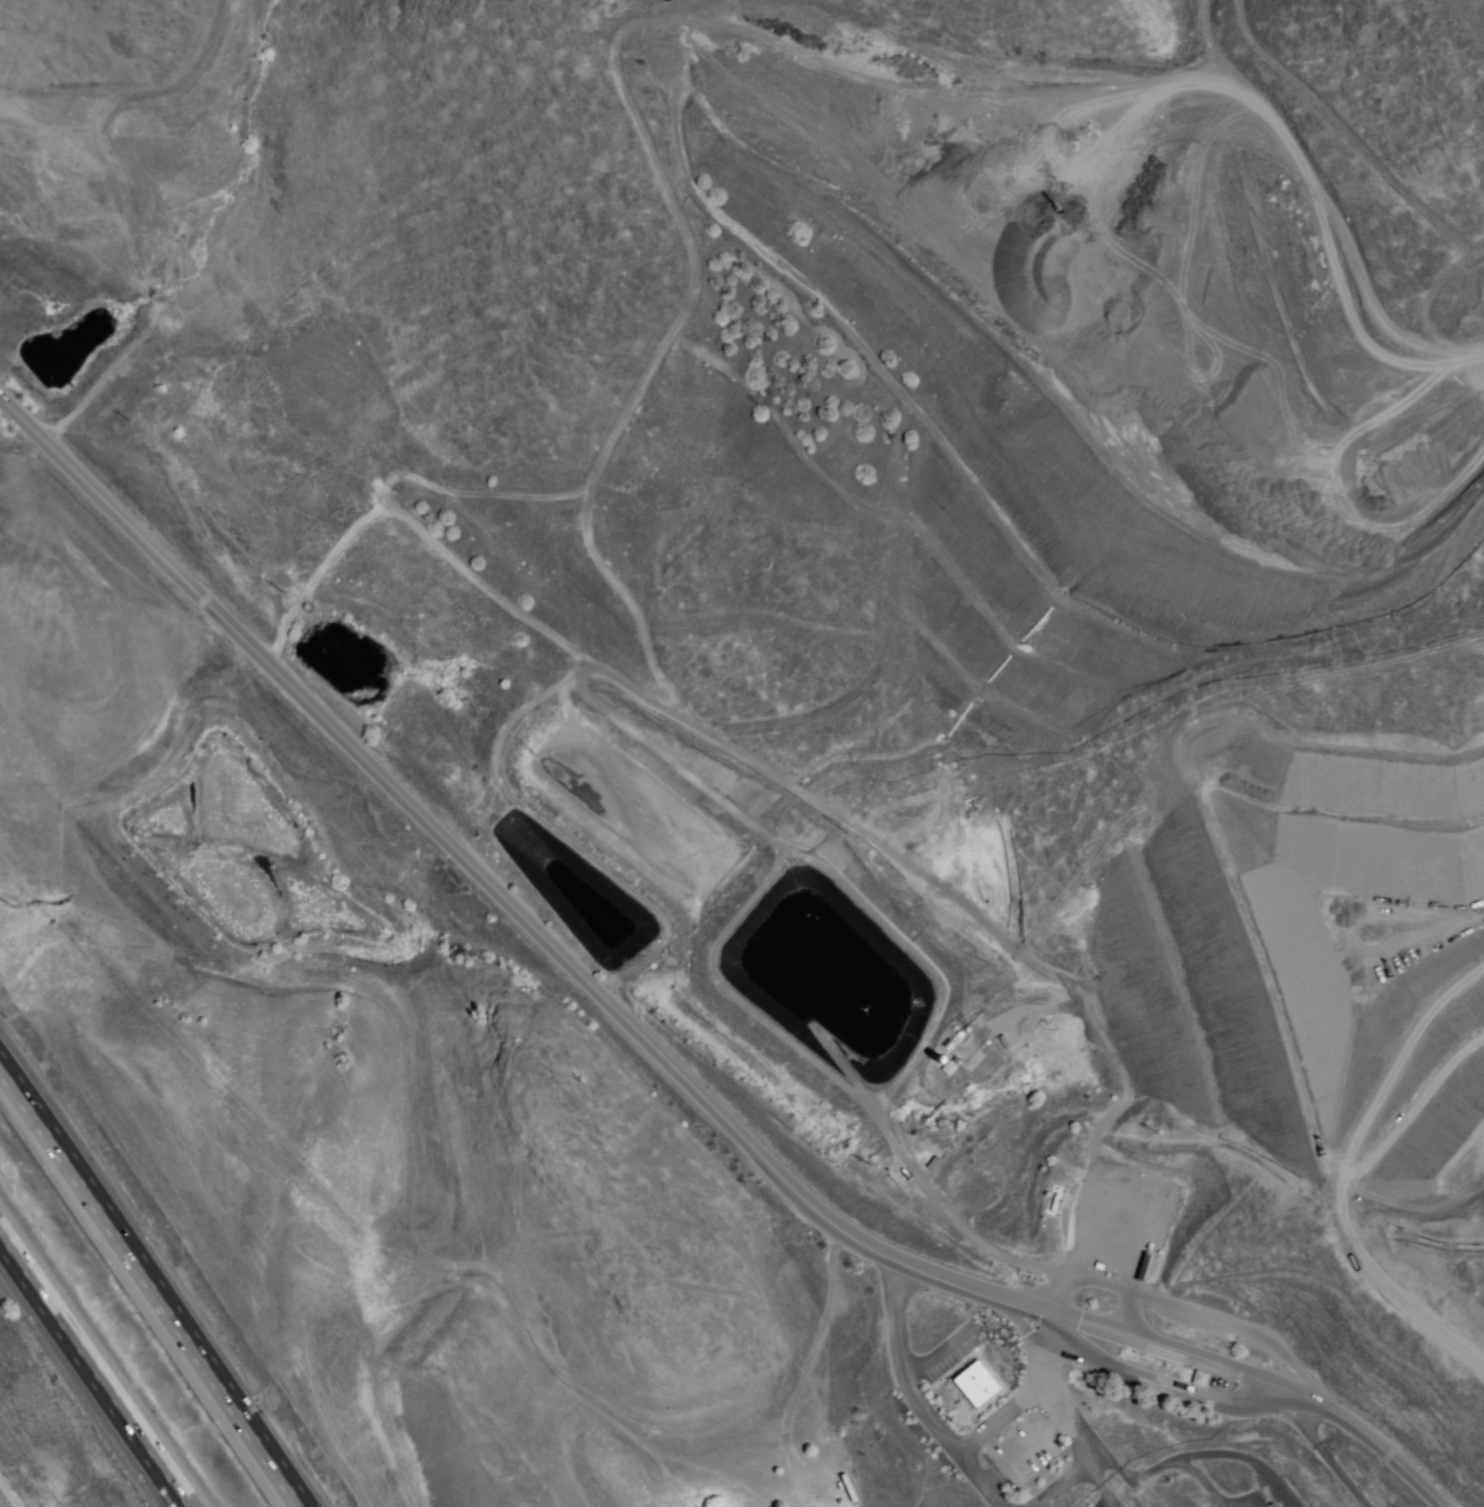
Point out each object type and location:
road: (665, 336)
road: (1461, 379)
landfill: (1086, 396)
road: (774, 871)
landfill: (1369, 944)
road: (657, 1052)
road: (1084, 1151)
road: (943, 1214)
road: (151, 1285)
road: (1190, 1316)
road: (1123, 1317)
road: (935, 1354)
road: (92, 1372)
building: (974, 1384)
road: (906, 1393)
road: (996, 1420)
road: (1069, 1425)
road: (1019, 1450)
road: (1203, 1454)
road: (1321, 1455)
road: (1099, 1487)

